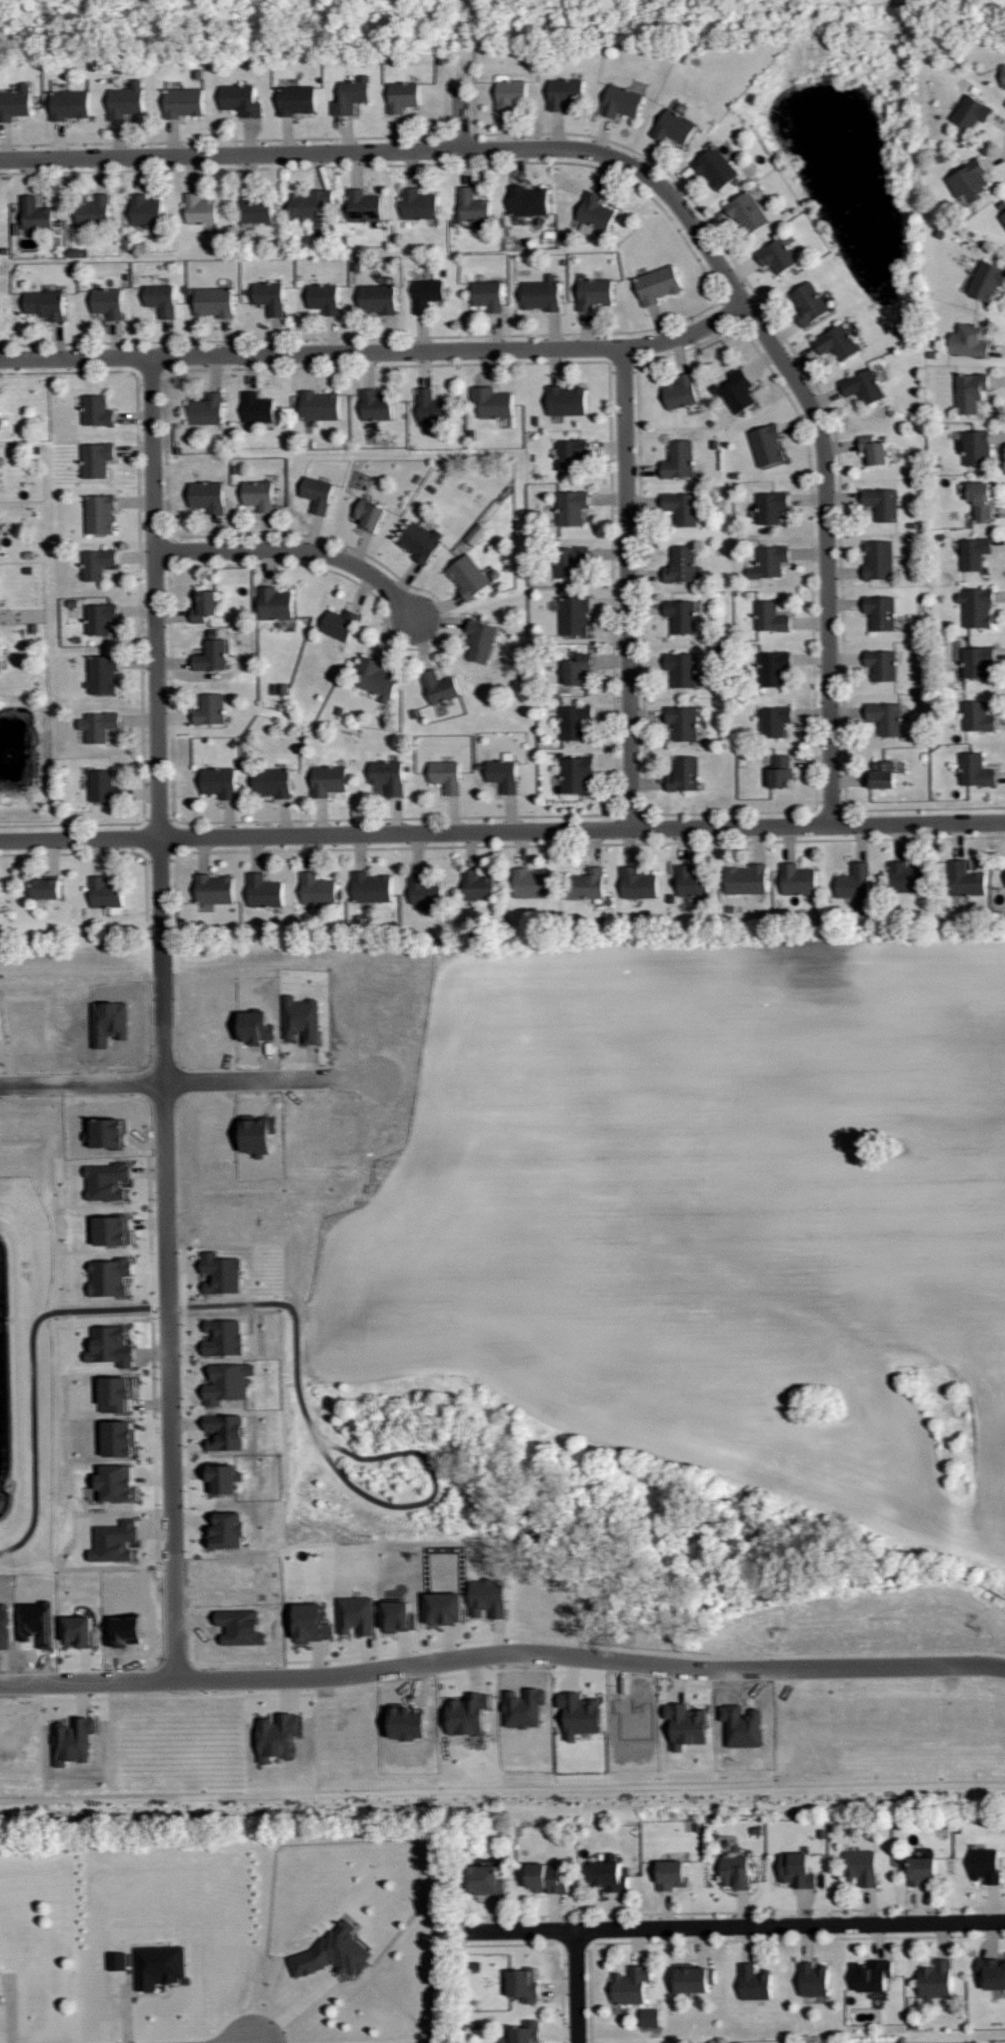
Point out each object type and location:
road: (459, 40)
building: (1003, 77)
building: (510, 93)
building: (564, 94)
building: (352, 96)
building: (403, 97)
building: (297, 100)
building: (241, 101)
building: (126, 102)
building: (15, 103)
building: (184, 103)
building: (622, 103)
building: (70, 105)
building: (972, 113)
road: (460, 117)
building: (674, 128)
building: (716, 169)
building: (970, 180)
road: (667, 193)
building: (530, 202)
building: (419, 205)
building: (312, 206)
building: (473, 206)
building: (364, 207)
building: (200, 210)
building: (256, 210)
building: (94, 211)
building: (147, 213)
building: (36, 214)
building: (748, 214)
building: (1003, 218)
building: (777, 257)
building: (987, 282)
building: (658, 285)
building: (594, 294)
building: (427, 295)
building: (542, 295)
building: (488, 296)
building: (270, 298)
building: (324, 299)
building: (378, 299)
building: (161, 300)
building: (108, 303)
building: (214, 303)
building: (46, 305)
building: (810, 305)
building: (969, 342)
building: (838, 344)
road: (377, 353)
building: (864, 387)
building: (738, 392)
building: (682, 393)
building: (971, 393)
building: (567, 402)
building: (493, 403)
building: (321, 406)
building: (376, 407)
building: (432, 408)
building: (258, 409)
building: (207, 410)
building: (97, 412)
building: (0, 430)
building: (768, 445)
building: (976, 448)
building: (875, 450)
building: (571, 453)
building: (680, 459)
building: (97, 460)
building: (259, 494)
building: (318, 494)
building: (207, 496)
building: (982, 499)
building: (883, 503)
building: (572, 507)
building: (682, 507)
building: (771, 507)
building: (100, 513)
building: (371, 515)
building: (477, 534)
building: (421, 541)
road: (296, 551)
building: (975, 553)
building: (571, 560)
building: (880, 560)
building: (771, 562)
building: (97, 563)
building: (682, 565)
building: (469, 576)
road: (628, 589)
building: (275, 603)
building: (205, 606)
building: (977, 607)
building: (881, 612)
building: (574, 615)
building: (682, 616)
building: (771, 617)
building: (101, 618)
building: (340, 624)
building: (481, 641)
building: (212, 655)
building: (978, 661)
building: (0, 663)
building: (883, 665)
building: (578, 668)
building: (774, 668)
building: (683, 669)
building: (103, 675)
building: (377, 678)
building: (440, 687)
building: (210, 709)
building: (978, 716)
building: (887, 718)
building: (775, 721)
building: (575, 722)
building: (684, 722)
building: (99, 726)
building: (782, 771)
building: (976, 771)
building: (504, 772)
building: (575, 774)
building: (685, 774)
building: (447, 775)
building: (884, 775)
building: (389, 776)
building: (329, 780)
building: (220, 782)
building: (273, 783)
building: (103, 786)
road: (502, 832)
building: (907, 877)
building: (747, 879)
building: (966, 879)
building: (798, 880)
building: (691, 882)
building: (855, 882)
building: (533, 883)
building: (638, 883)
building: (588, 884)
building: (478, 886)
building: (47, 888)
building: (372, 888)
building: (215, 889)
building: (318, 889)
building: (265, 891)
building: (425, 891)
building: (107, 895)
road: (163, 1018)
road: (507, 1073)
road: (626, 1335)
building: (488, 1597)
building: (445, 1607)
building: (356, 1616)
road: (502, 1652)
building: (985, 1865)
building: (861, 1866)
building: (797, 1870)
building: (922, 1870)
building: (735, 1871)
building: (672, 1874)
building: (548, 1876)
building: (610, 1876)
building: (485, 1879)
road: (735, 1929)
building: (334, 1953)
building: (118, 1960)
building: (160, 1966)
building: (992, 1973)
building: (874, 1975)
building: (694, 1978)
building: (814, 1979)
building: (936, 1979)
building: (754, 1982)
building: (524, 1984)
building: (631, 1985)
building: (0, 1988)
road: (576, 1988)
road: (293, 2011)
building: (523, 2033)

